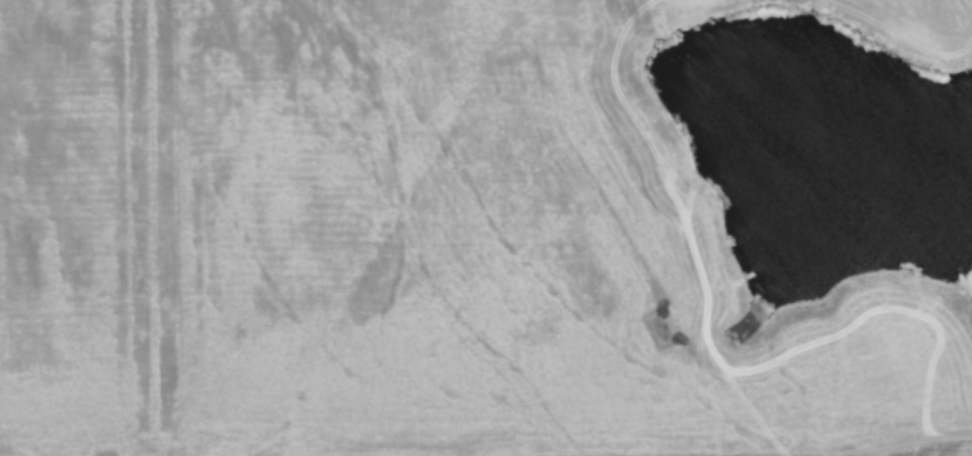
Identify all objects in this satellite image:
road: (910, 442)

